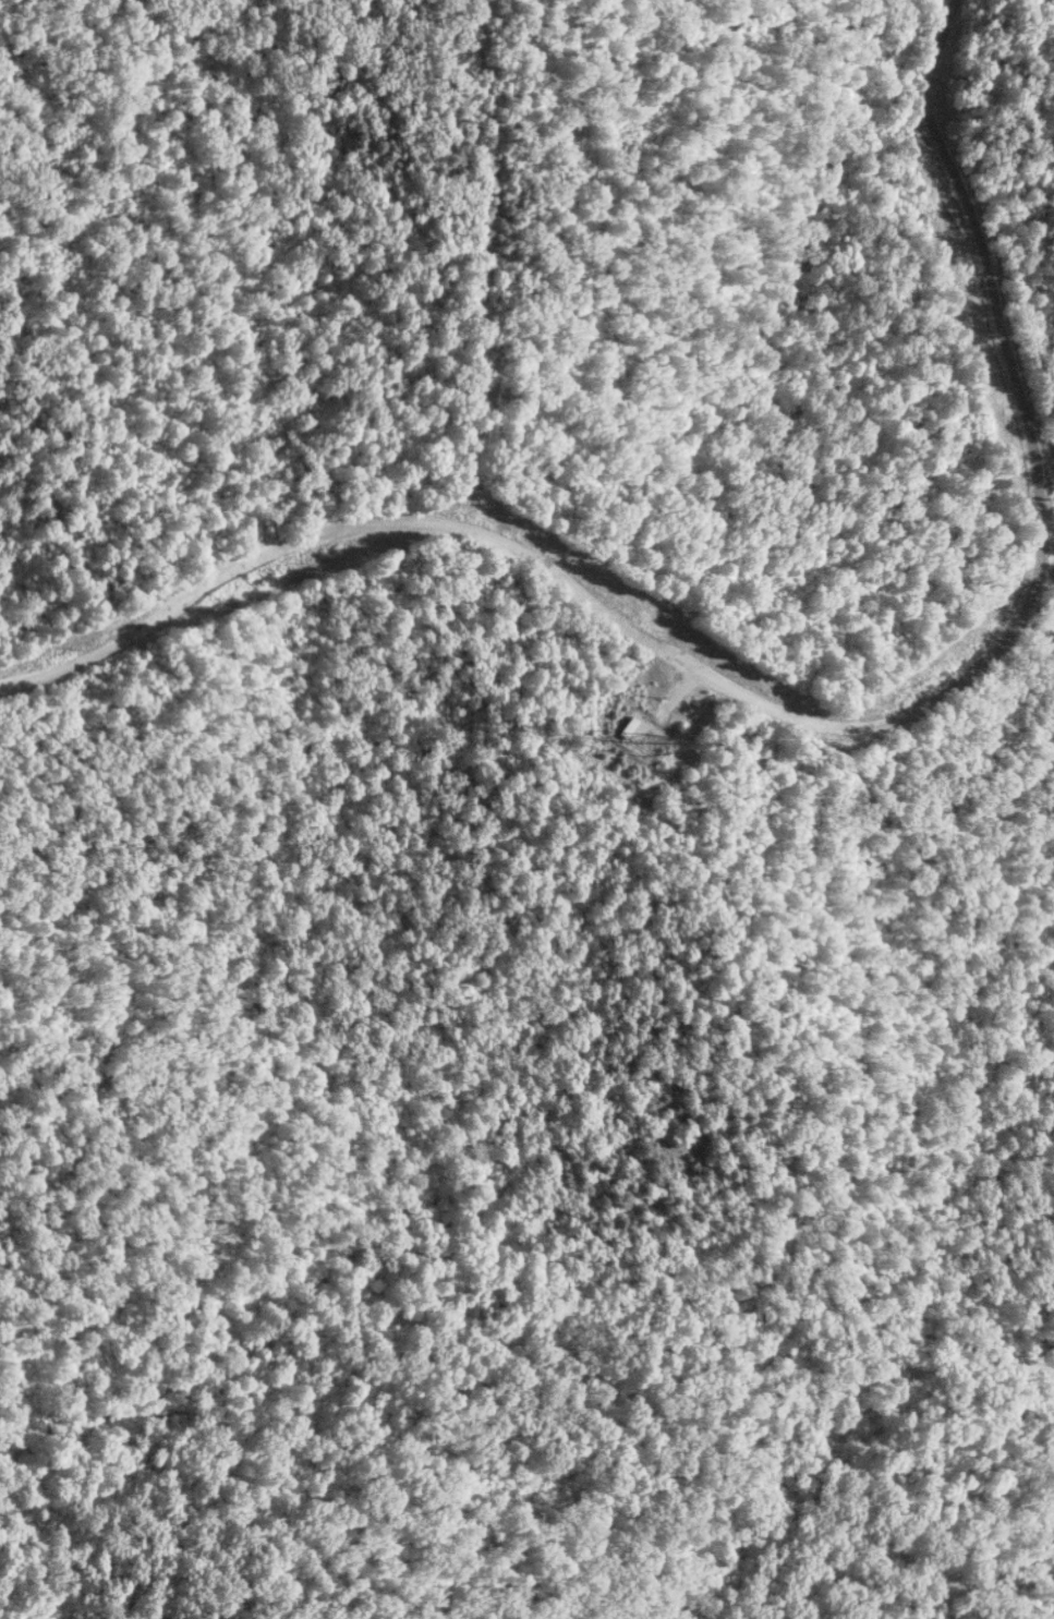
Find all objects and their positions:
road: (803, 714)

